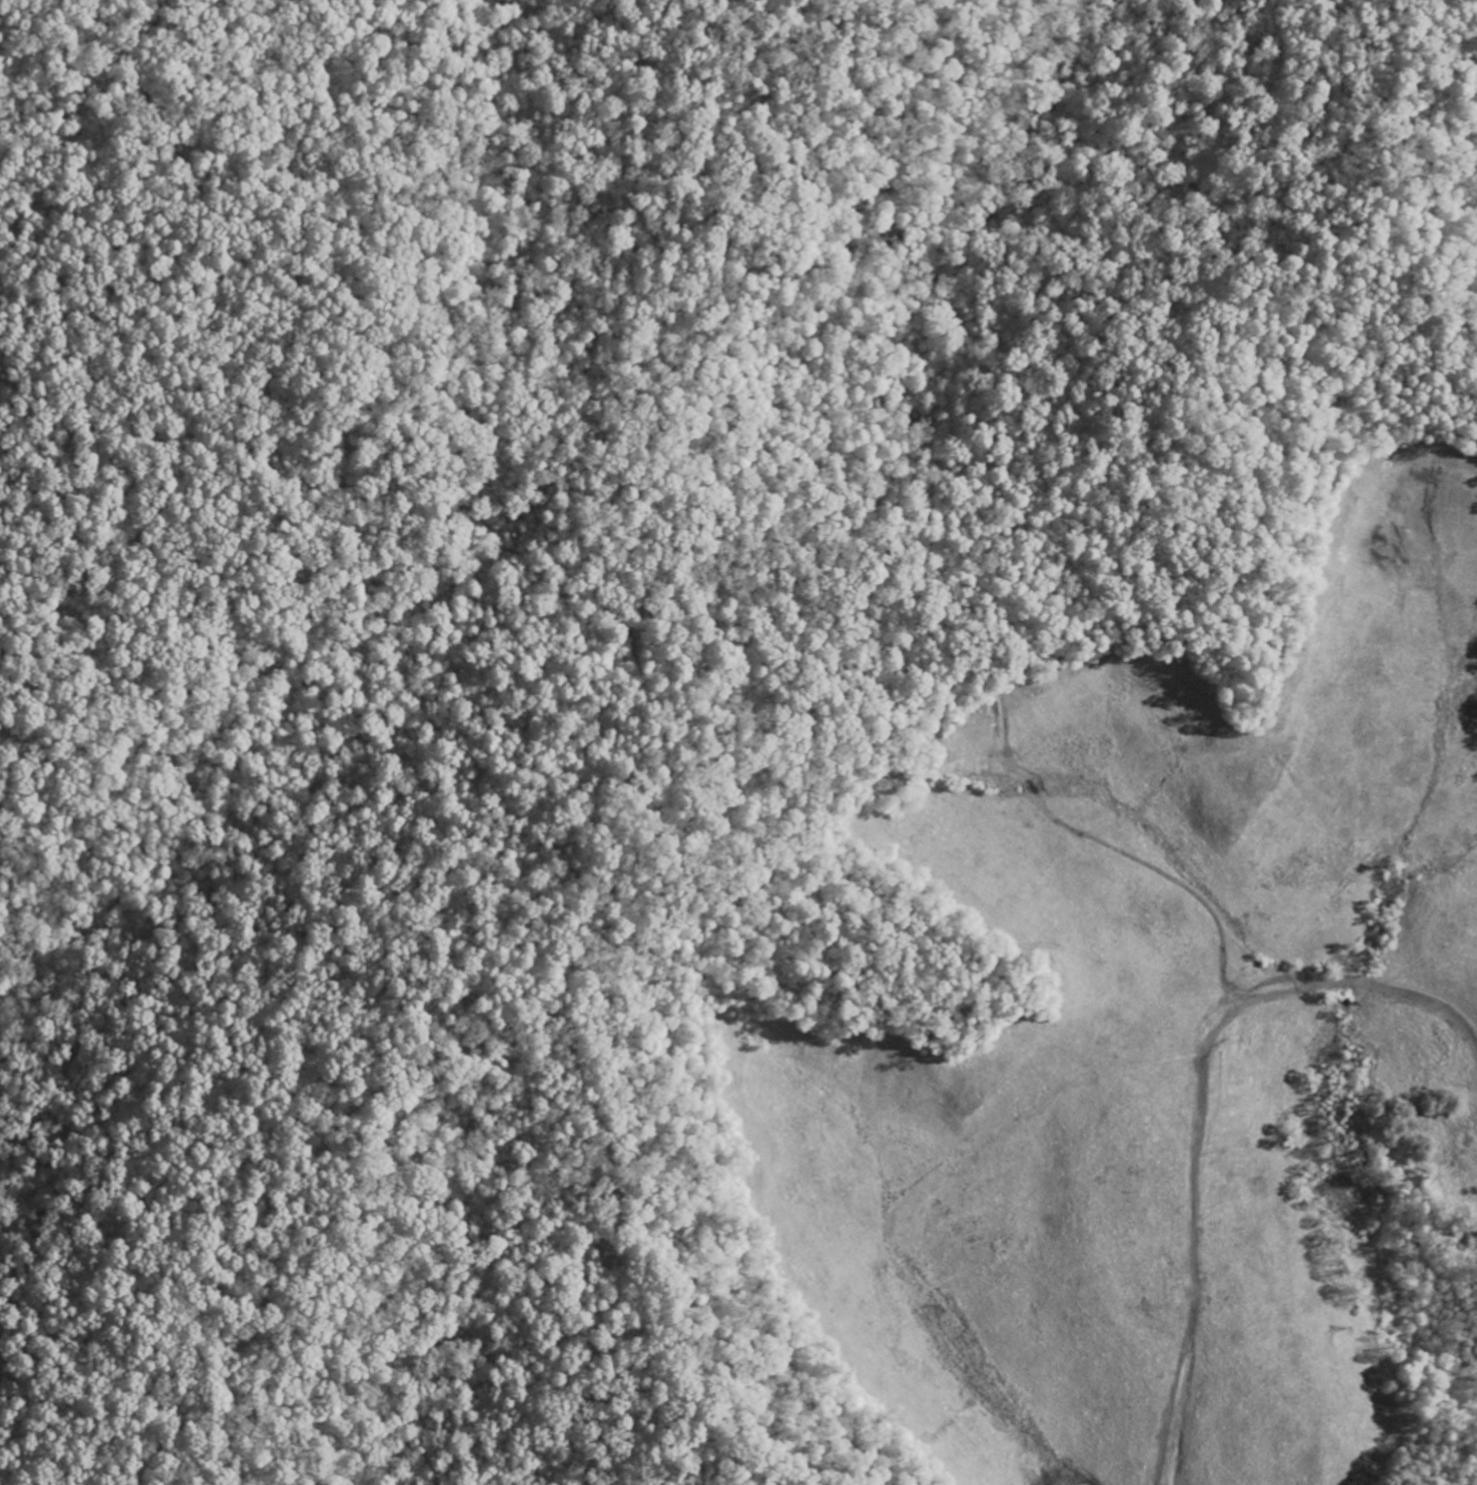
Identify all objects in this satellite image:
road: (609, 663)
road: (1203, 1106)

